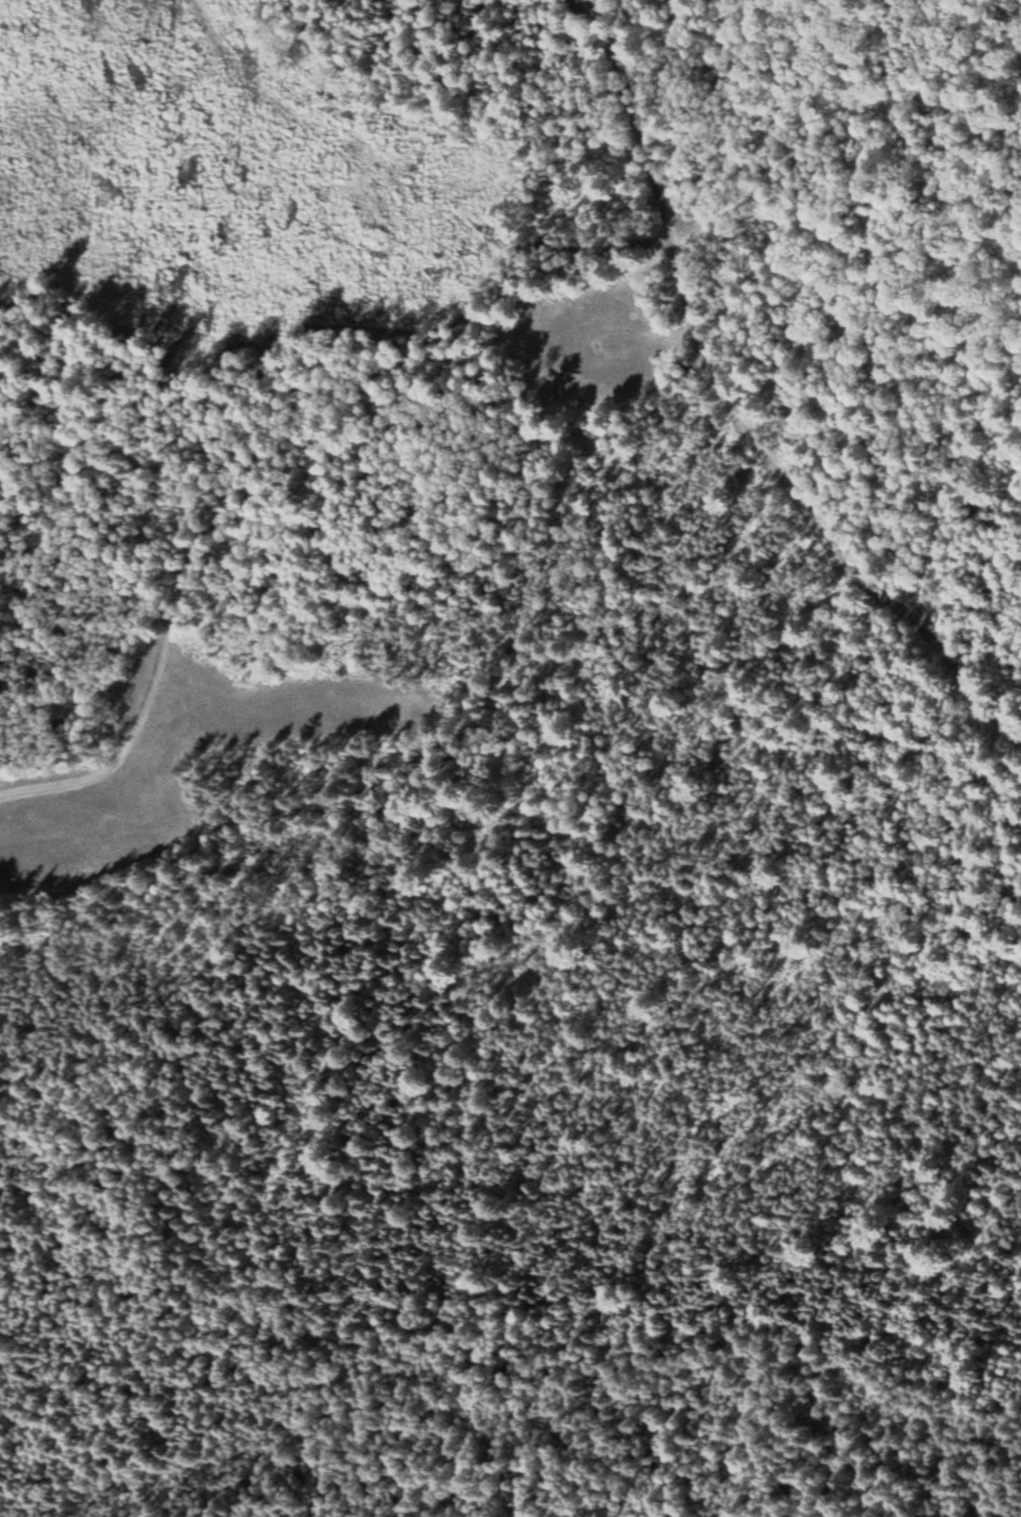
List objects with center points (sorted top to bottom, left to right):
road: (741, 410)

